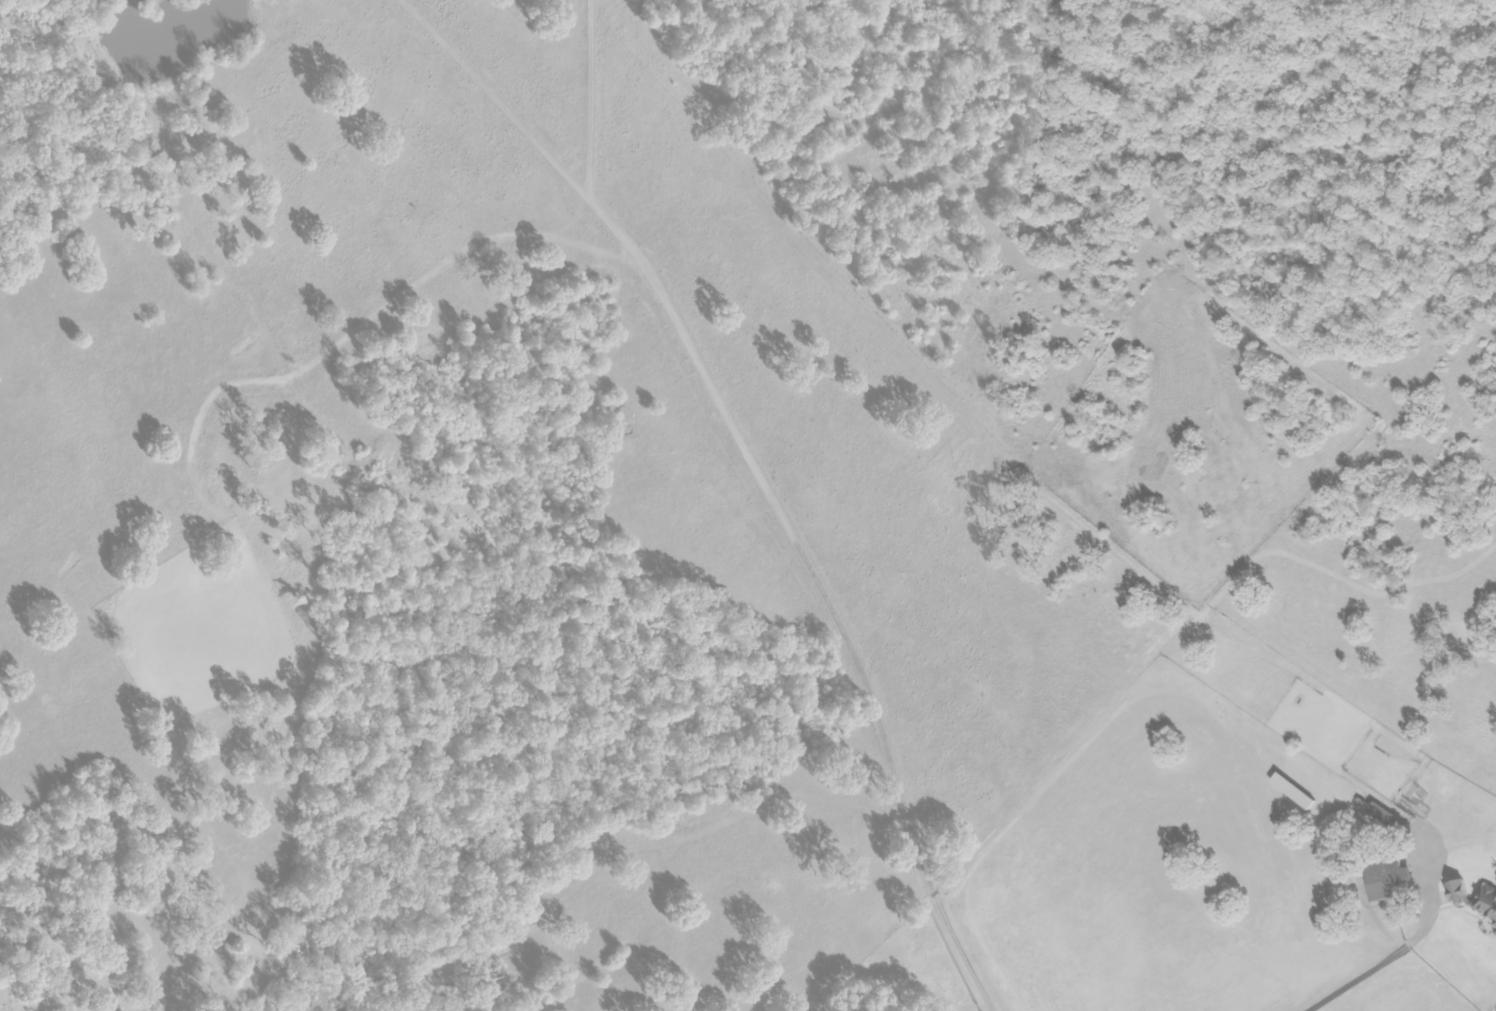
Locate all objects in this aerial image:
building: (1382, 816)
building: (1386, 879)
building: (1485, 902)

